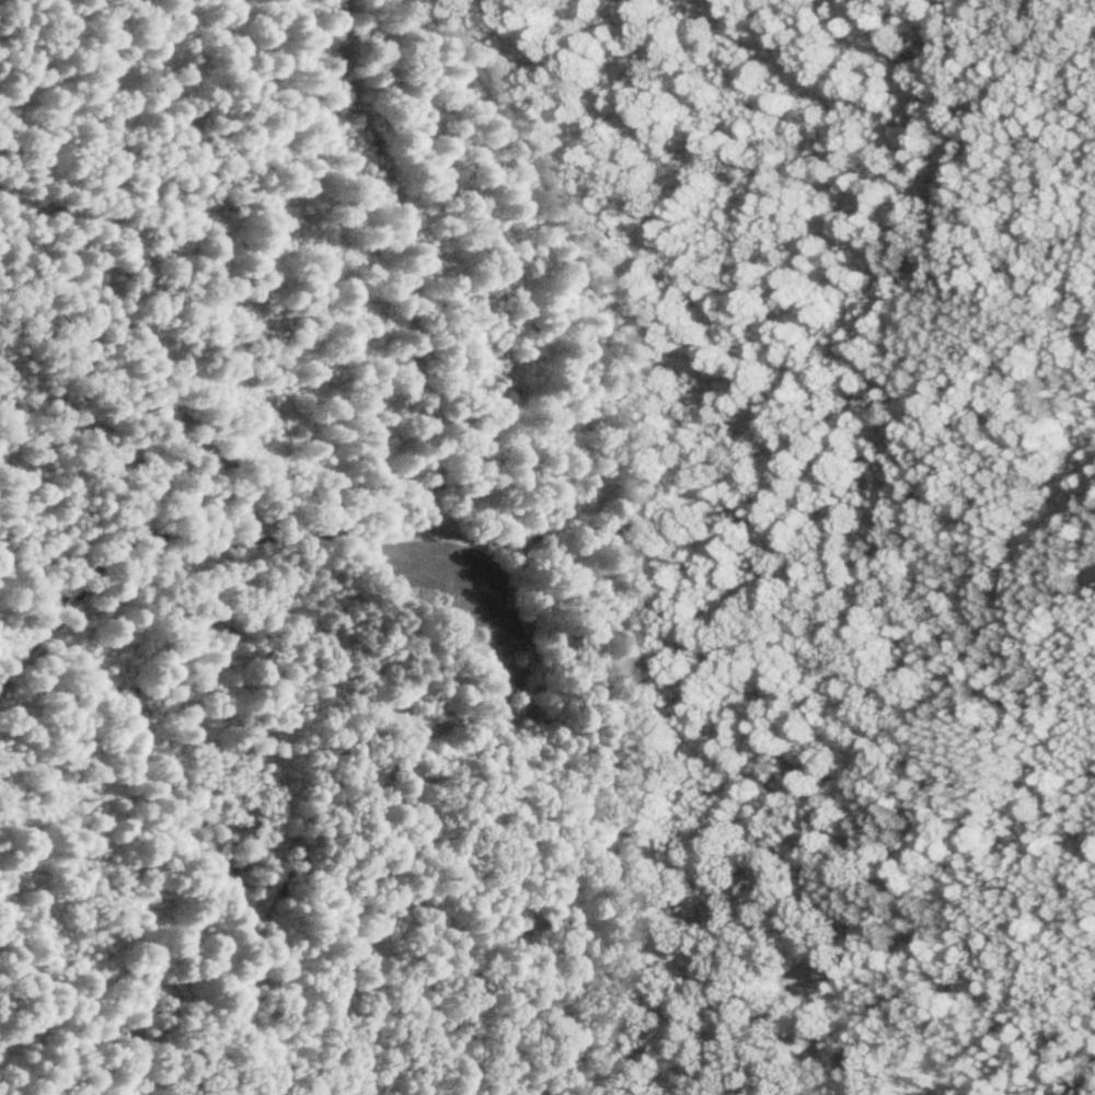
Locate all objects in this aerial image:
building: (1082, 852)

